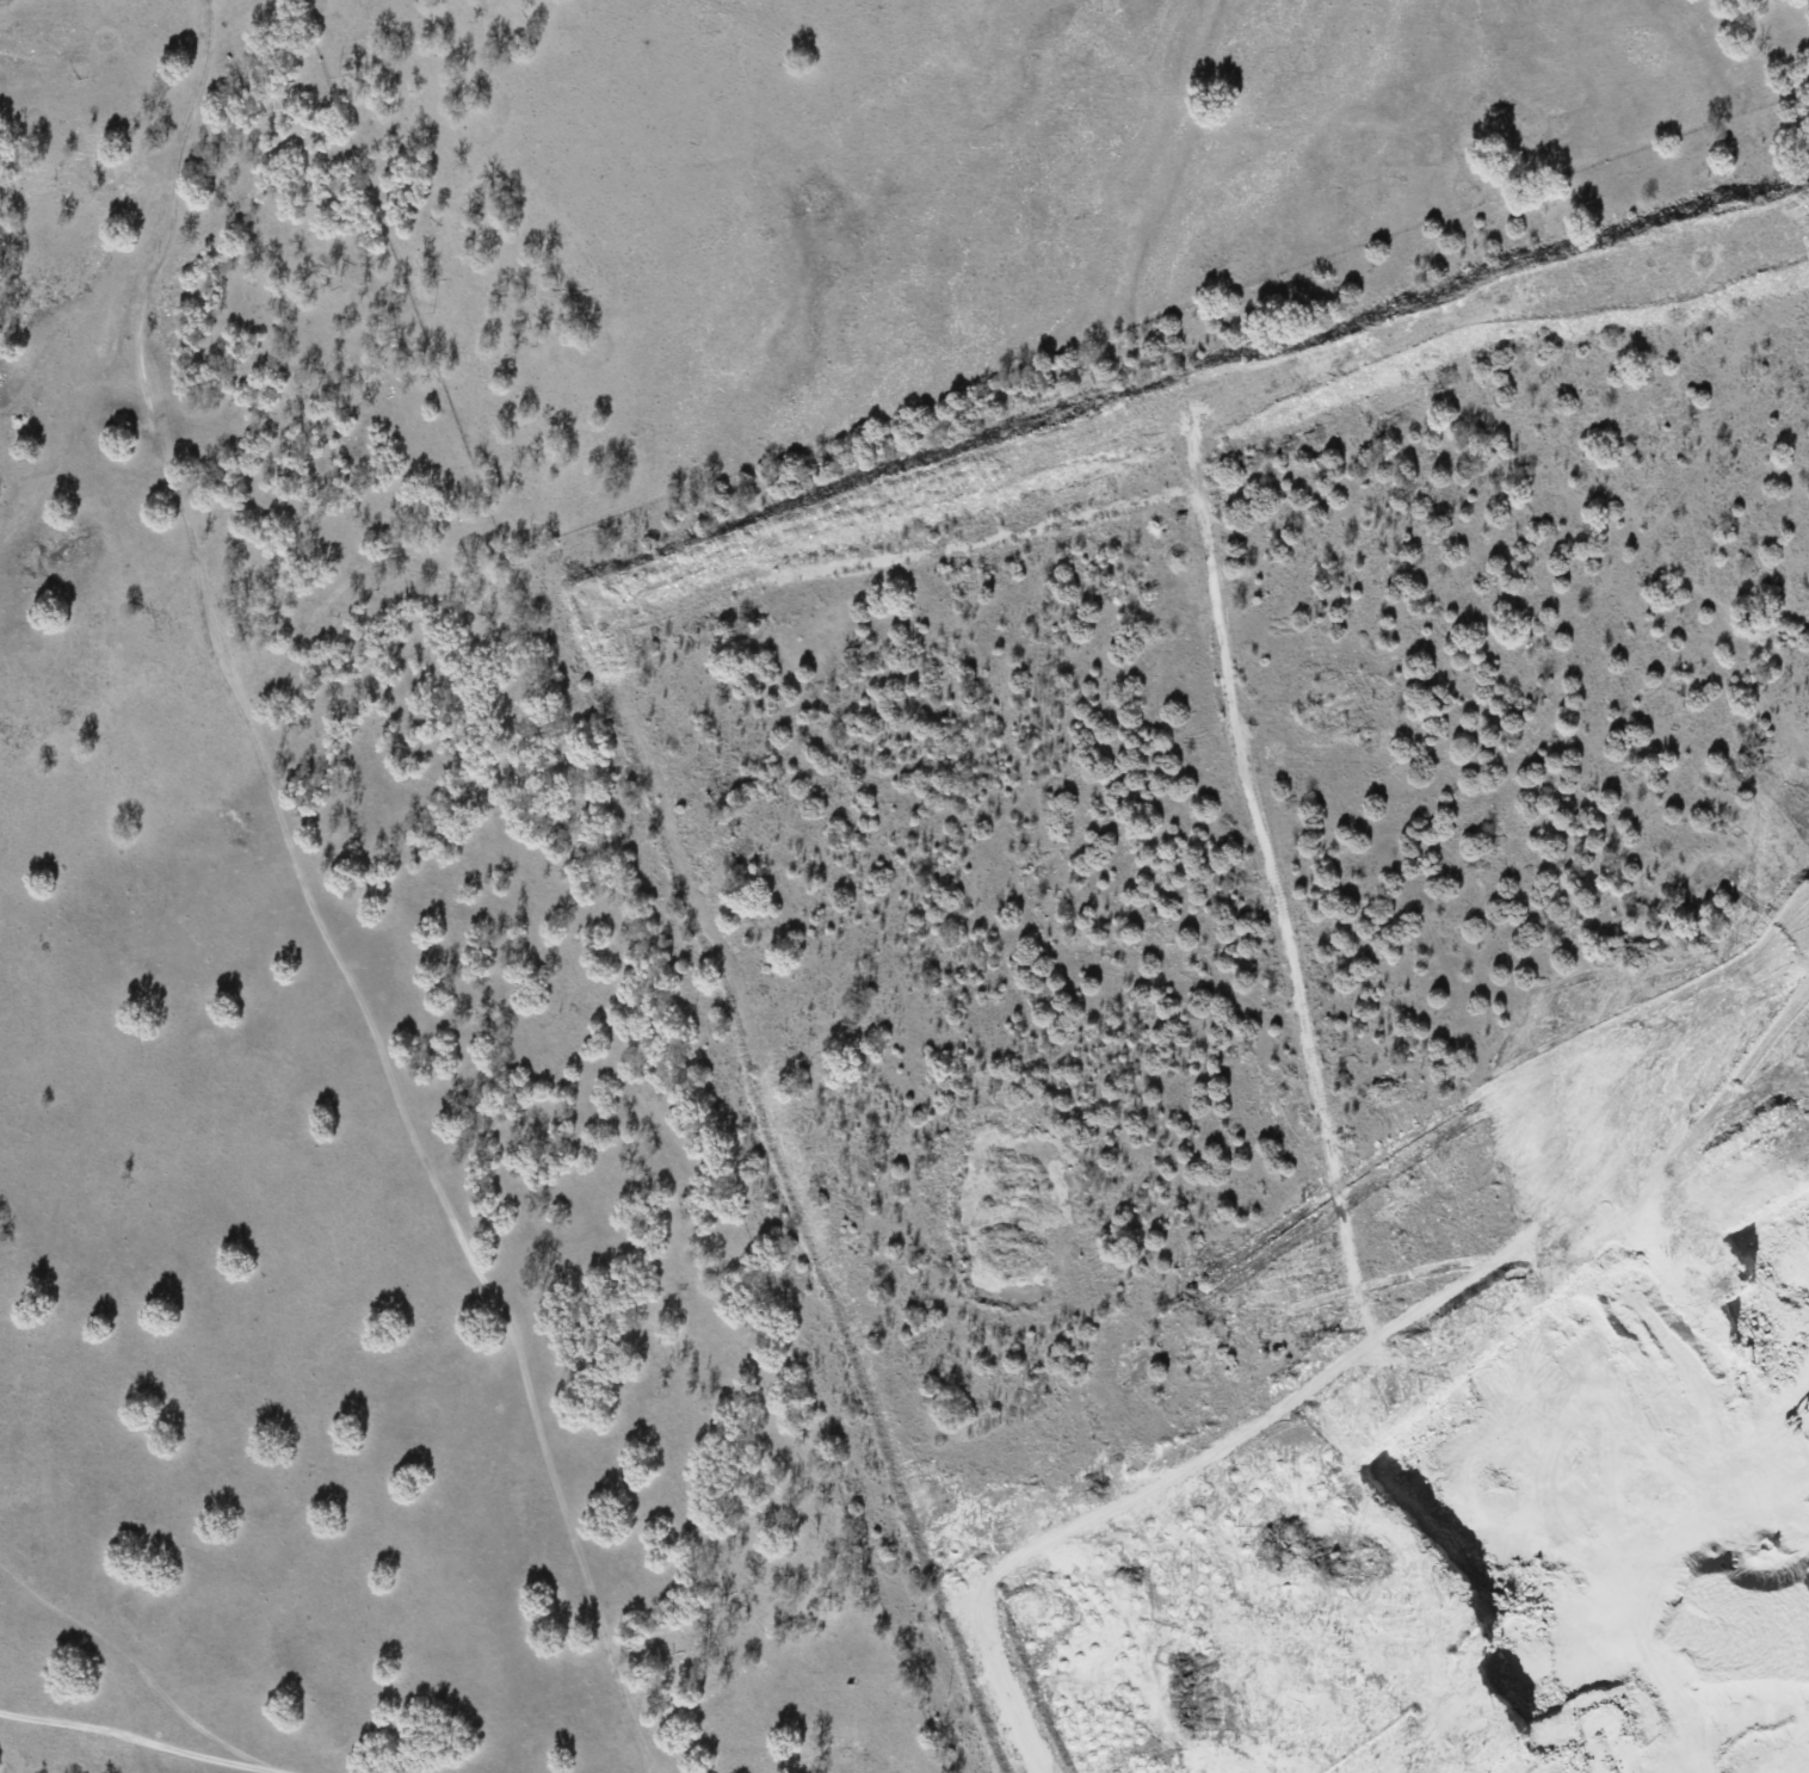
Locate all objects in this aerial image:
road: (144, 1742)

